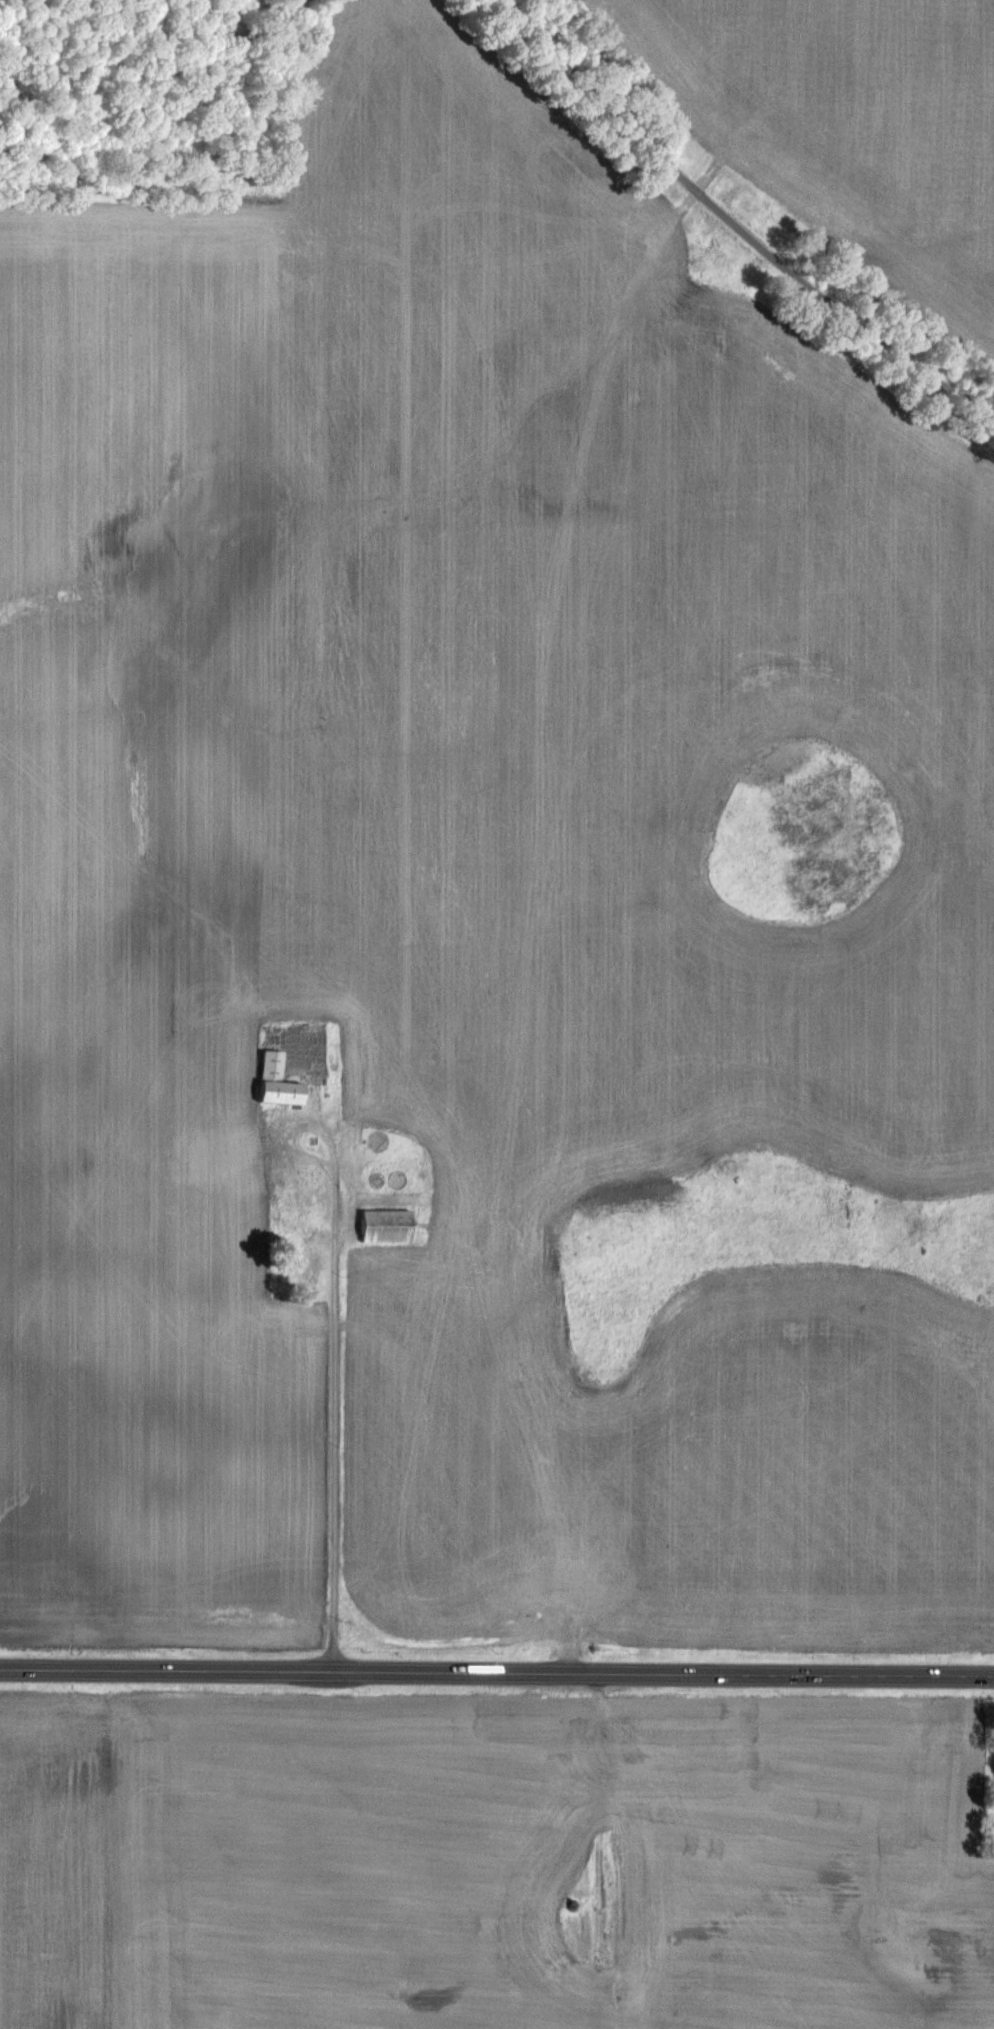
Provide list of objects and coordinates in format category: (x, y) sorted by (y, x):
road: (736, 220)
building: (275, 1080)
building: (375, 1139)
building: (395, 1178)
building: (382, 1224)
road: (332, 1373)
road: (496, 1675)

